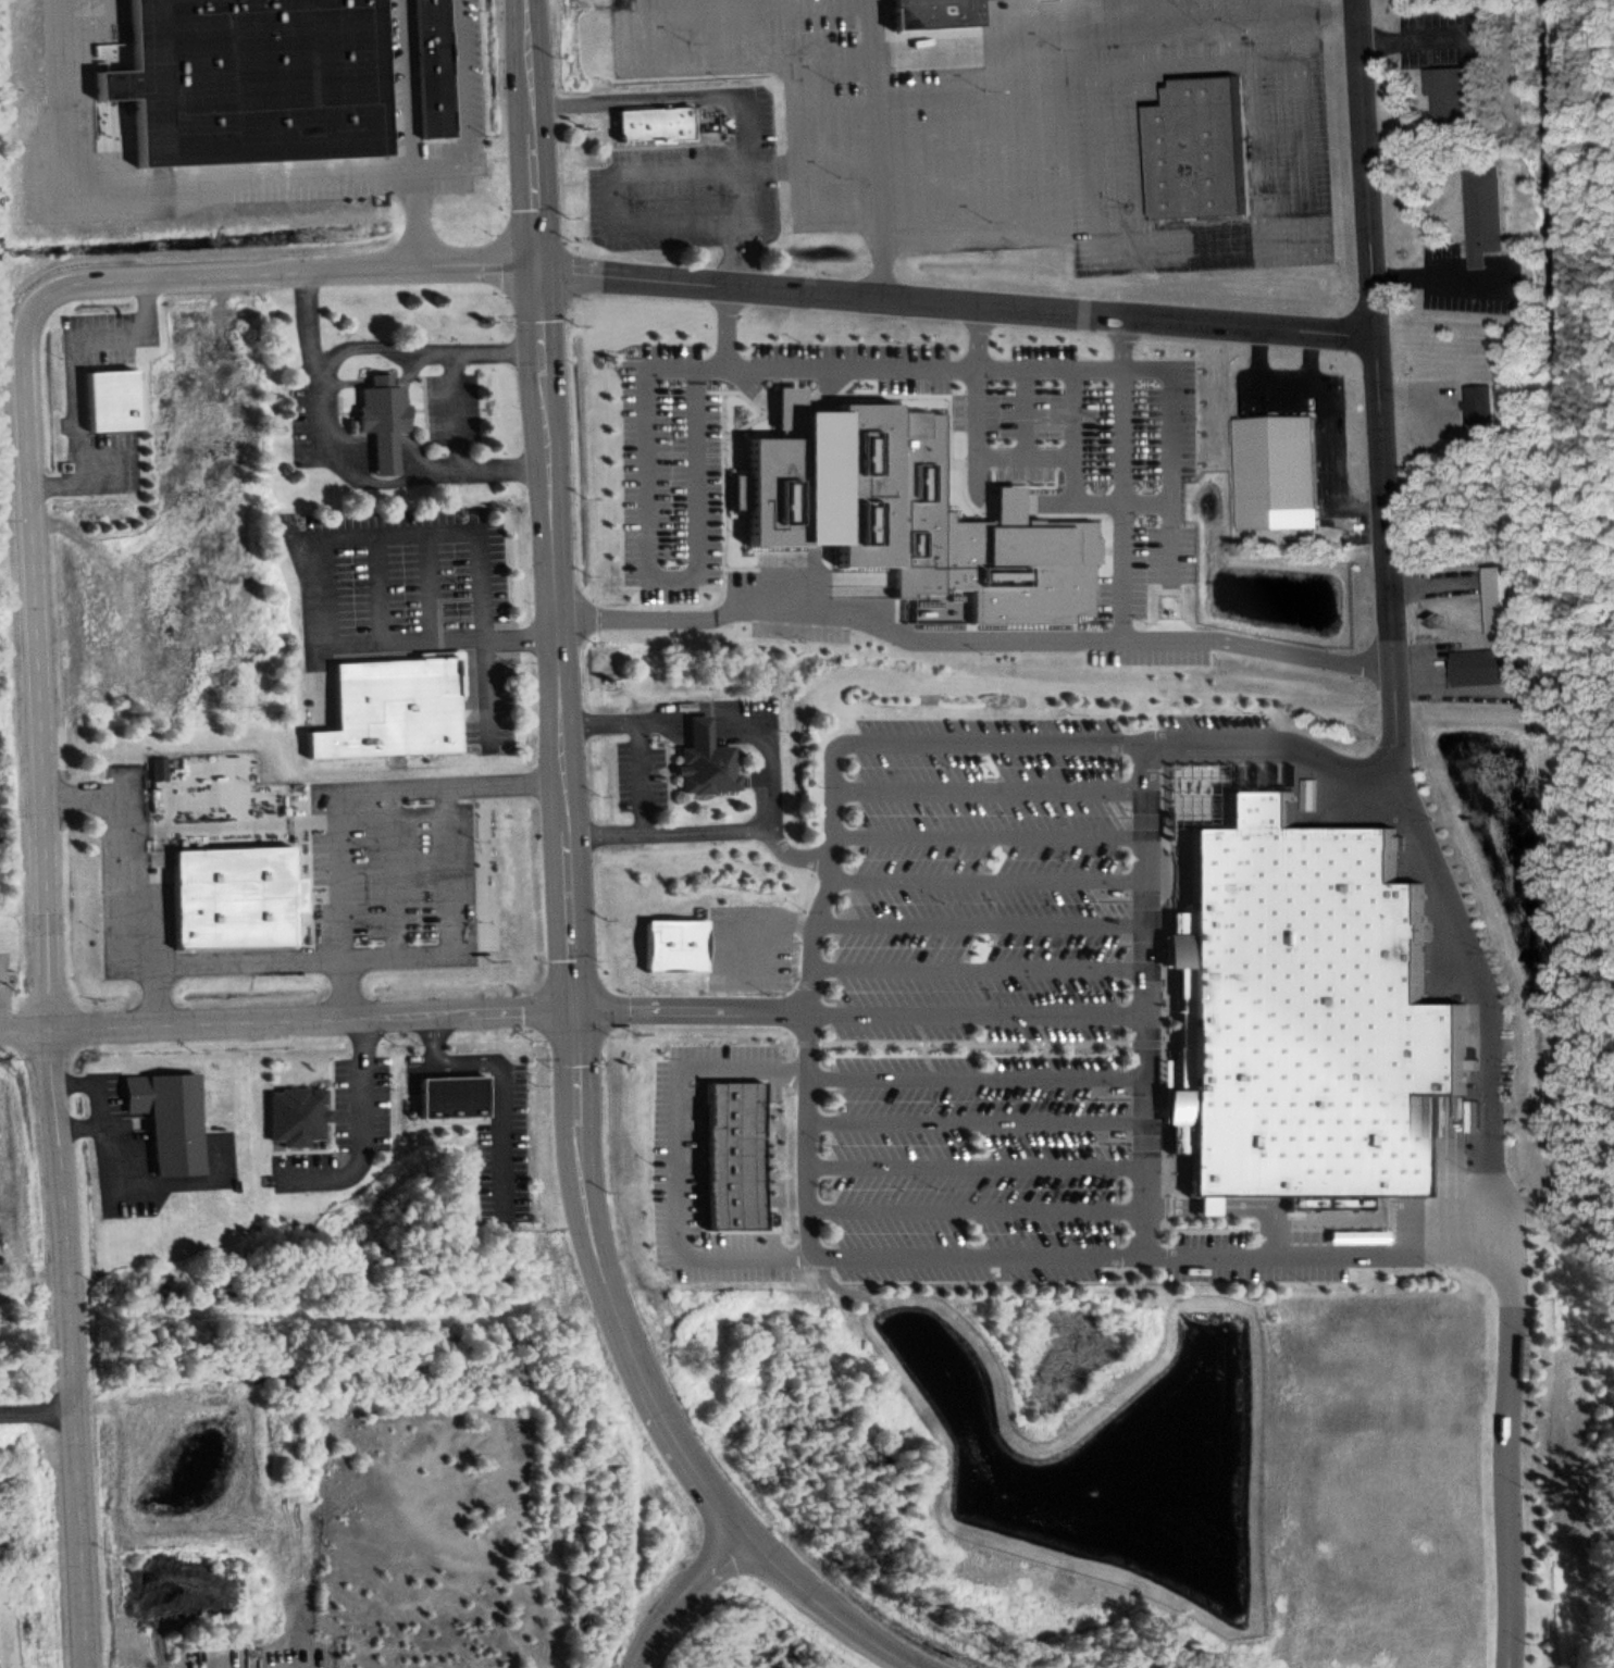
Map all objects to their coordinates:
building: (928, 5)
road: (1303, 7)
road: (748, 10)
road: (1219, 13)
parking lot: (1182, 14)
road: (1079, 17)
road: (97, 18)
road: (873, 26)
road: (1109, 32)
road: (1233, 43)
road: (840, 57)
building: (429, 61)
building: (260, 77)
building: (1451, 97)
road: (836, 98)
road: (641, 99)
building: (655, 122)
parking lot: (880, 123)
road: (410, 132)
road: (1141, 148)
building: (1203, 150)
road: (1006, 153)
parking lot: (1112, 159)
road: (961, 160)
road: (1255, 161)
road: (917, 162)
road: (661, 172)
road: (800, 174)
road: (259, 178)
road: (742, 196)
building: (1479, 201)
road: (1060, 222)
road: (1201, 224)
road: (1207, 244)
traffic signals: (538, 267)
road: (1126, 267)
road: (723, 283)
road: (723, 322)
road: (423, 336)
road: (1373, 343)
road: (70, 361)
road: (1055, 363)
road: (375, 365)
road: (450, 396)
building: (114, 399)
road: (783, 399)
building: (377, 400)
road: (1023, 409)
building: (1480, 412)
building: (1061, 414)
road: (381, 427)
road: (1071, 433)
road: (373, 435)
road: (375, 445)
road: (1166, 446)
road: (1023, 455)
road: (345, 463)
building: (1276, 465)
road: (978, 493)
building: (911, 509)
road: (451, 532)
road: (643, 561)
road: (431, 586)
road: (378, 588)
building: (1510, 600)
road: (970, 634)
road: (403, 640)
building: (1488, 665)
road: (709, 696)
building: (396, 702)
building: (699, 748)
road: (633, 764)
road: (562, 787)
road: (990, 788)
road: (340, 793)
road: (704, 818)
road: (991, 834)
road: (393, 869)
road: (989, 882)
building: (238, 894)
park: (18, 914)
road: (982, 921)
building: (670, 938)
road: (727, 938)
parking lot: (748, 942)
road: (254, 959)
road: (52, 960)
road: (981, 968)
parking lot: (980, 993)
road: (160, 994)
road: (1147, 996)
traffic signals: (573, 1009)
road: (860, 1011)
building: (1308, 1016)
road: (286, 1020)
road: (814, 1053)
road: (499, 1073)
road: (980, 1078)
building: (450, 1085)
road: (82, 1115)
building: (305, 1116)
building: (176, 1119)
road: (980, 1119)
road: (360, 1124)
building: (741, 1150)
road: (679, 1157)
parking lot: (680, 1158)
road: (980, 1165)
road: (1492, 1170)
road: (107, 1172)
road: (980, 1208)
road: (36, 1411)
road: (678, 1594)
road: (821, 1608)
crop: (753, 1630)

